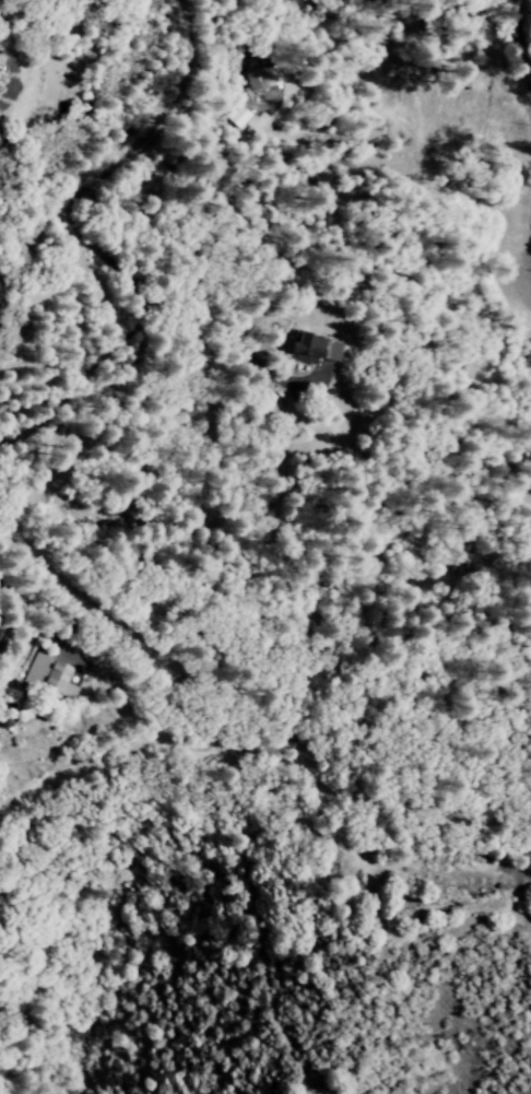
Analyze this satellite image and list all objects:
road: (519, 45)
building: (237, 117)
road: (83, 233)
building: (305, 350)
road: (34, 462)
building: (49, 677)
road: (153, 707)

